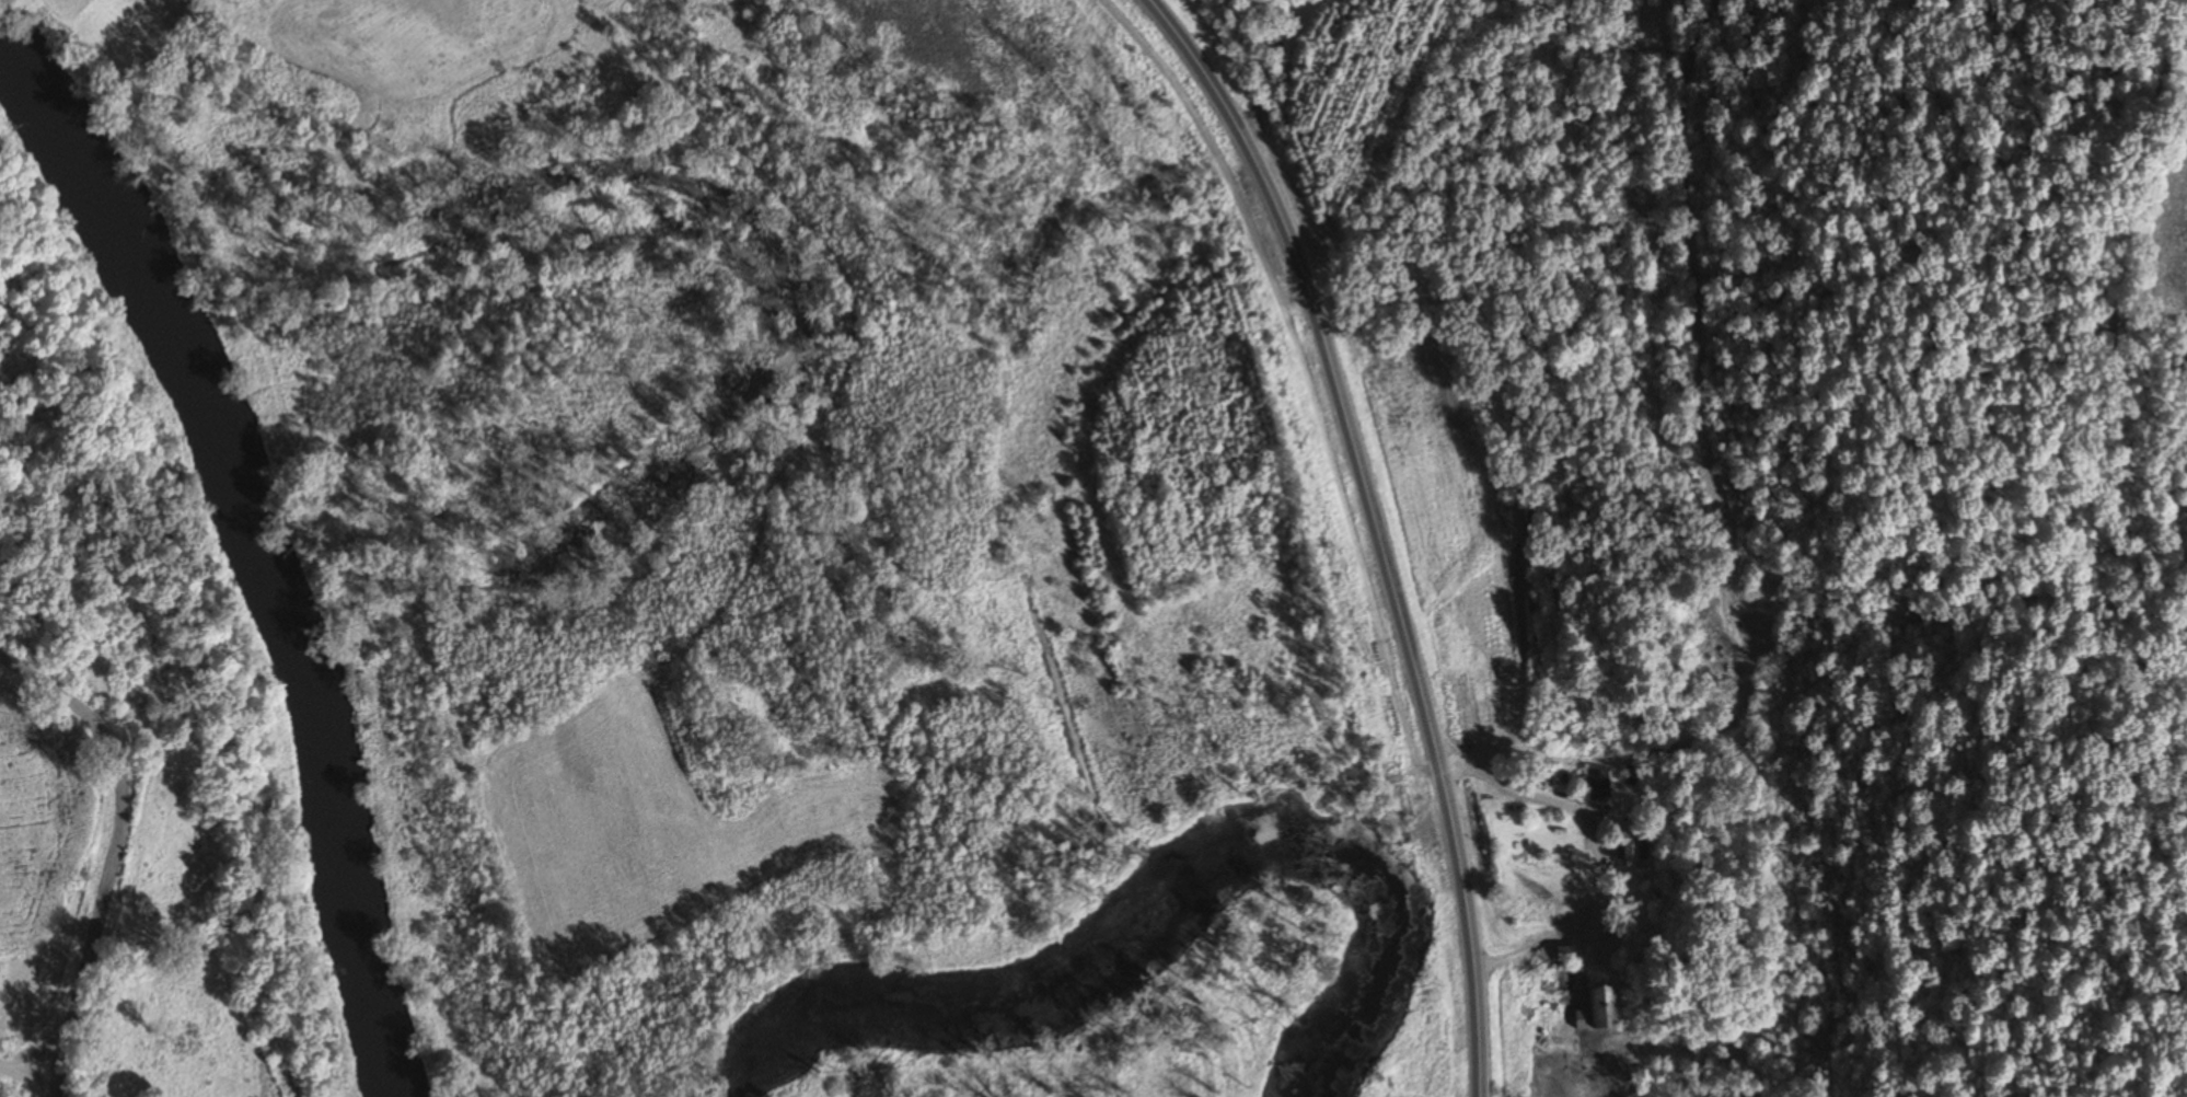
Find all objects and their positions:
building: (1523, 518)
road: (1376, 528)
river: (250, 556)
building: (1596, 783)
building: (1629, 846)
road: (113, 852)
building: (1562, 955)
building: (1596, 1012)
road: (30, 1072)

